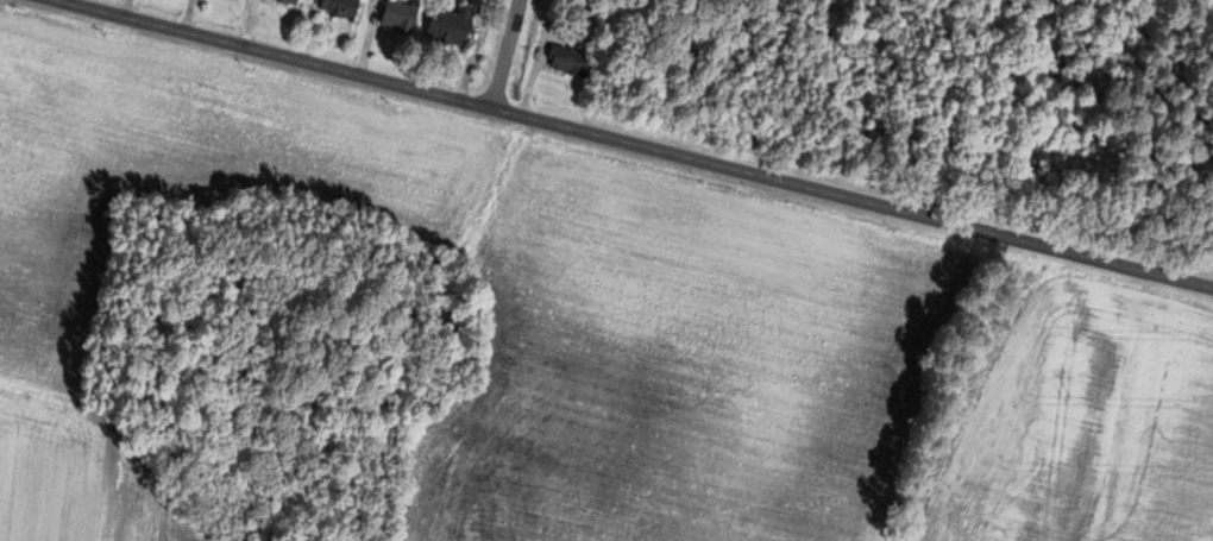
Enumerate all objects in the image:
building: (295, 1)
building: (345, 7)
building: (404, 15)
building: (455, 25)
building: (573, 59)
road: (624, 147)

